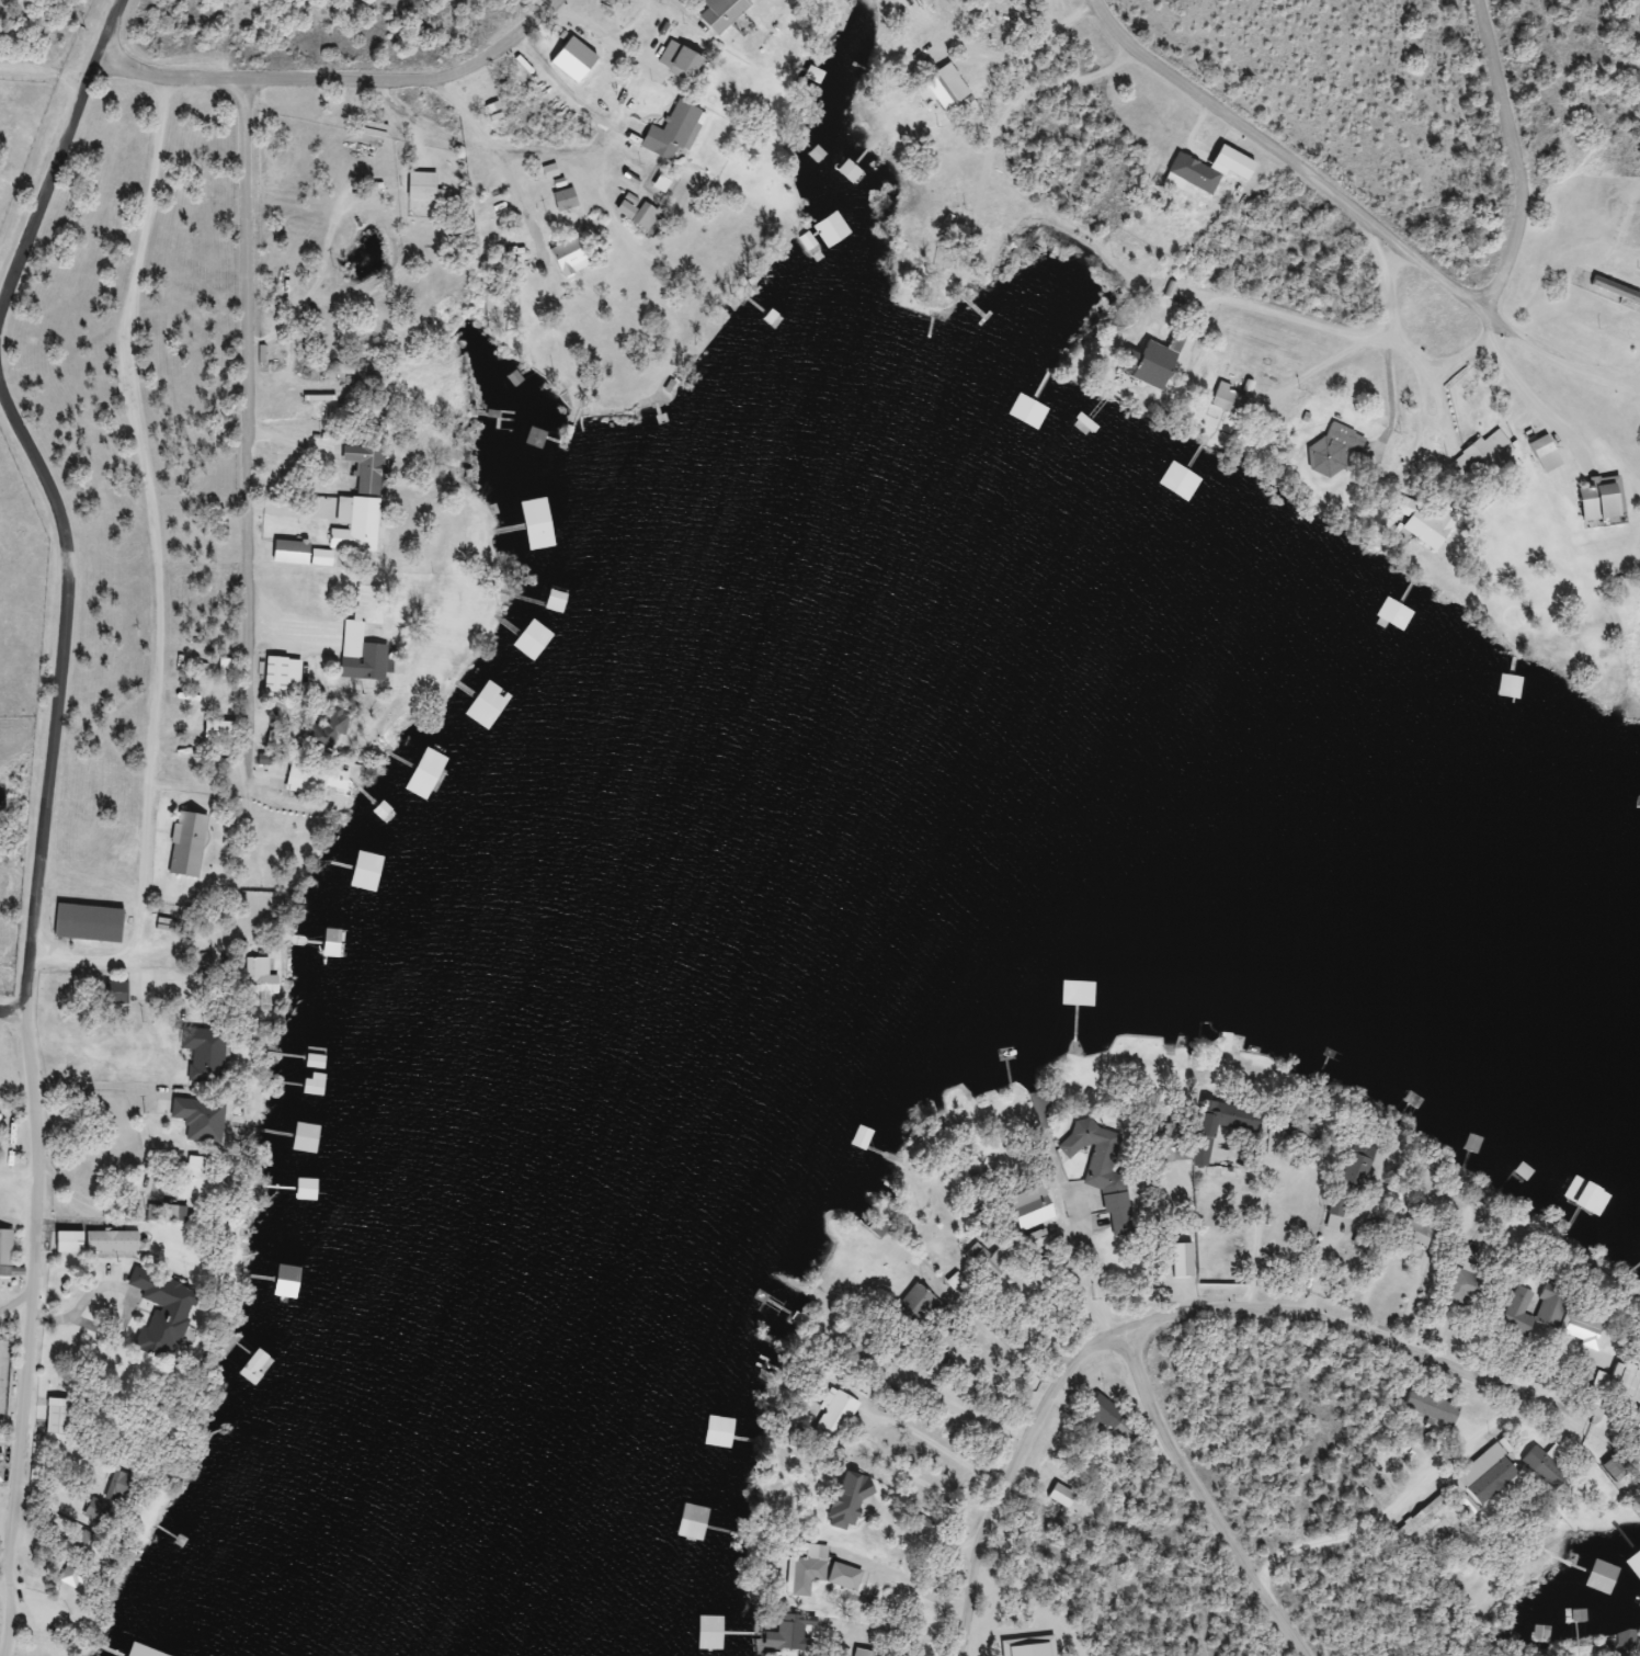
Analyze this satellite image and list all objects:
building: (1025, 0)
building: (1041, 0)
building: (615, 1)
building: (726, 13)
road: (111, 27)
building: (685, 61)
road: (349, 69)
building: (949, 88)
building: (674, 132)
road: (1507, 149)
building: (1198, 173)
building: (428, 188)
building: (568, 200)
building: (640, 212)
road: (1351, 215)
building: (834, 229)
building: (492, 234)
building: (519, 256)
building: (573, 257)
road: (1173, 276)
road: (543, 284)
building: (1617, 288)
building: (982, 316)
building: (1158, 366)
road: (1377, 374)
building: (1232, 399)
road: (11, 427)
building: (546, 439)
building: (1337, 450)
building: (1549, 454)
building: (1487, 458)
building: (369, 467)
building: (1185, 468)
road: (242, 487)
building: (1605, 500)
building: (360, 524)
building: (1428, 524)
road: (49, 532)
building: (303, 554)
building: (563, 594)
road: (1536, 612)
building: (358, 633)
building: (287, 674)
building: (1513, 684)
building: (335, 733)
building: (280, 739)
river: (720, 739)
building: (431, 775)
building: (274, 866)
building: (92, 922)
building: (330, 944)
building: (265, 977)
building: (155, 987)
road: (16, 1031)
building: (1227, 1041)
building: (208, 1054)
road: (31, 1089)
building: (201, 1119)
building: (865, 1138)
road: (14, 1146)
building: (996, 1158)
building: (1363, 1164)
building: (1104, 1173)
building: (1534, 1178)
building: (200, 1179)
building: (1595, 1205)
building: (167, 1213)
building: (878, 1227)
building: (1423, 1235)
building: (1038, 1239)
building: (102, 1243)
building: (7, 1252)
building: (292, 1282)
building: (1470, 1283)
building: (958, 1286)
building: (173, 1307)
building: (1558, 1308)
road: (12, 1318)
building: (1590, 1330)
road: (1358, 1370)
road: (21, 1394)
building: (1434, 1407)
building: (836, 1415)
building: (60, 1416)
building: (1114, 1420)
building: (1637, 1422)
building: (725, 1432)
building: (1621, 1465)
building: (1552, 1468)
building: (2, 1470)
road: (1010, 1475)
road: (1339, 1484)
building: (127, 1487)
building: (1062, 1496)
building: (851, 1504)
building: (104, 1511)
road: (1218, 1515)
building: (1426, 1515)
road: (1352, 1542)
building: (93, 1544)
building: (1637, 1561)
road: (8, 1565)
building: (810, 1567)
building: (78, 1574)
building: (1564, 1593)
building: (1581, 1617)
building: (789, 1634)
building: (1541, 1635)
building: (1628, 1640)
building: (864, 1653)
building: (155, 1654)

